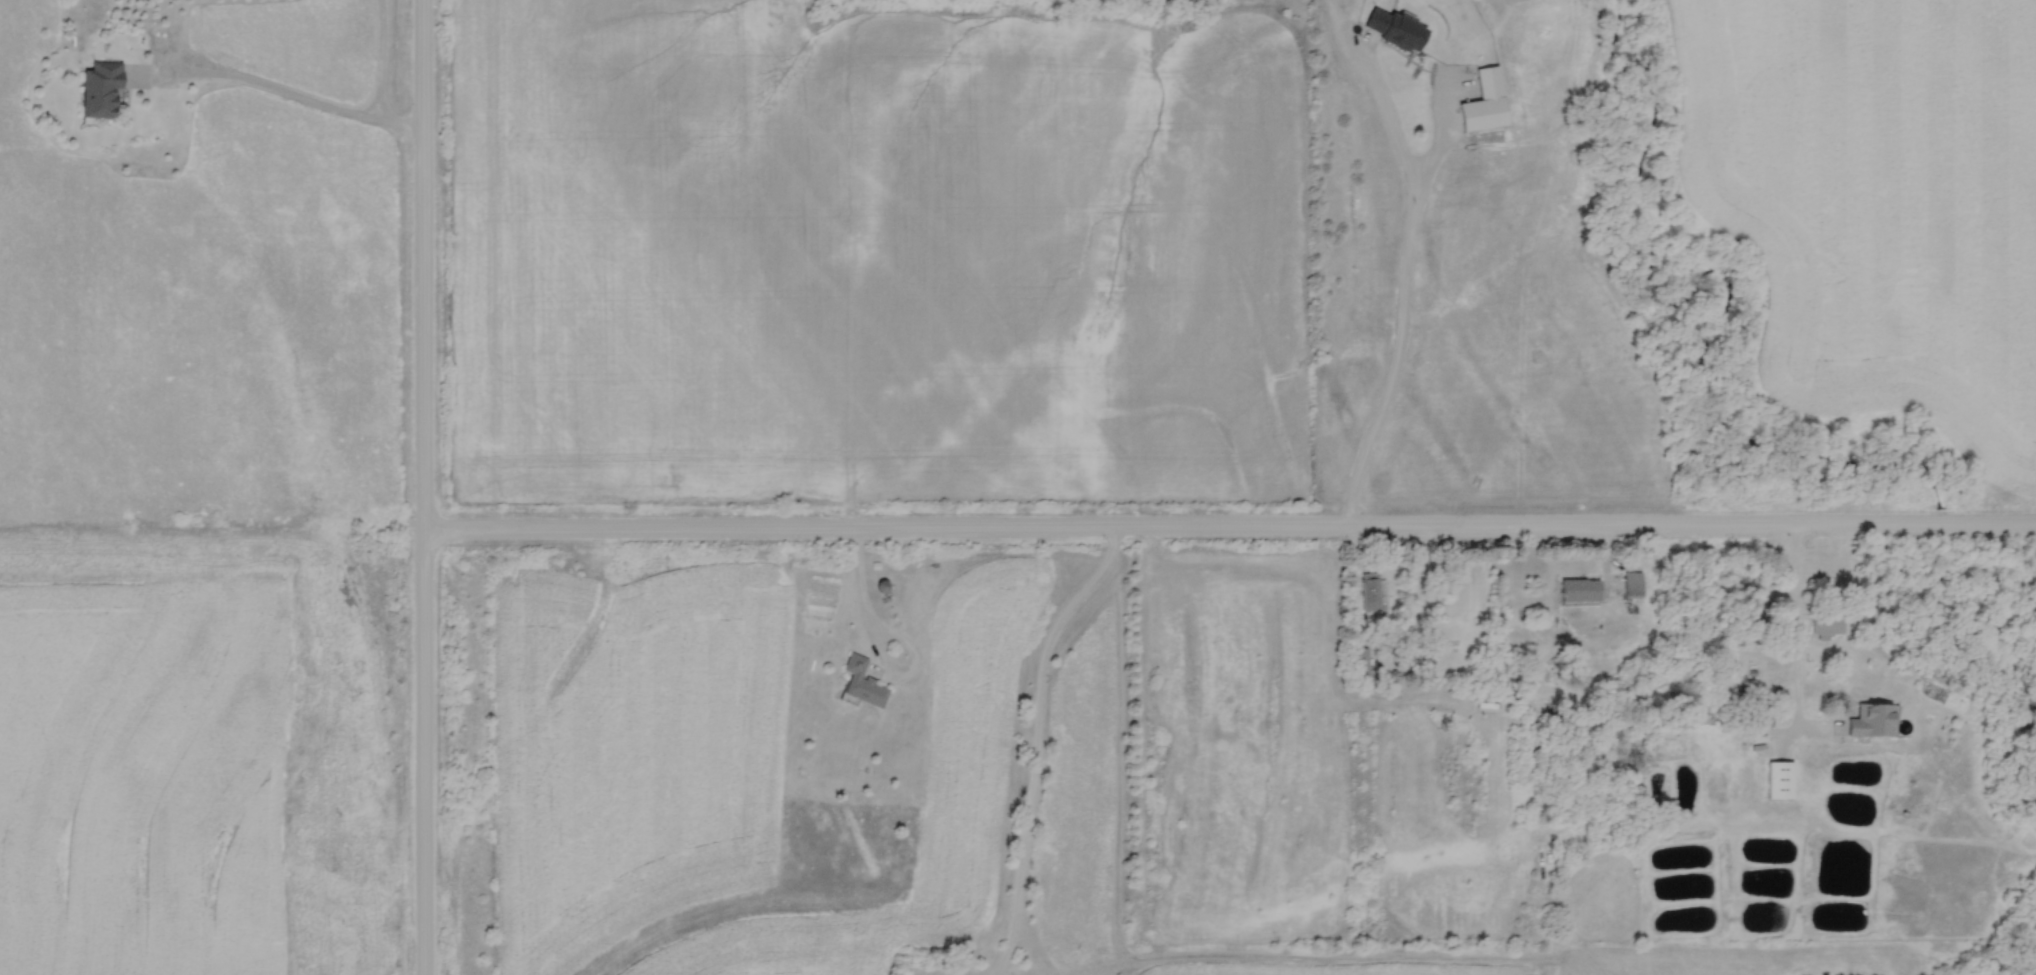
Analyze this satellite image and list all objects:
building: (1392, 31)
road: (278, 89)
building: (98, 91)
building: (1483, 104)
road: (1405, 282)
road: (422, 487)
road: (1229, 524)
building: (881, 586)
building: (1631, 586)
building: (1579, 591)
building: (1369, 593)
building: (1826, 624)
road: (1796, 636)
road: (880, 645)
building: (861, 683)
building: (1762, 714)
building: (1871, 721)
road: (1037, 740)
building: (1605, 825)

